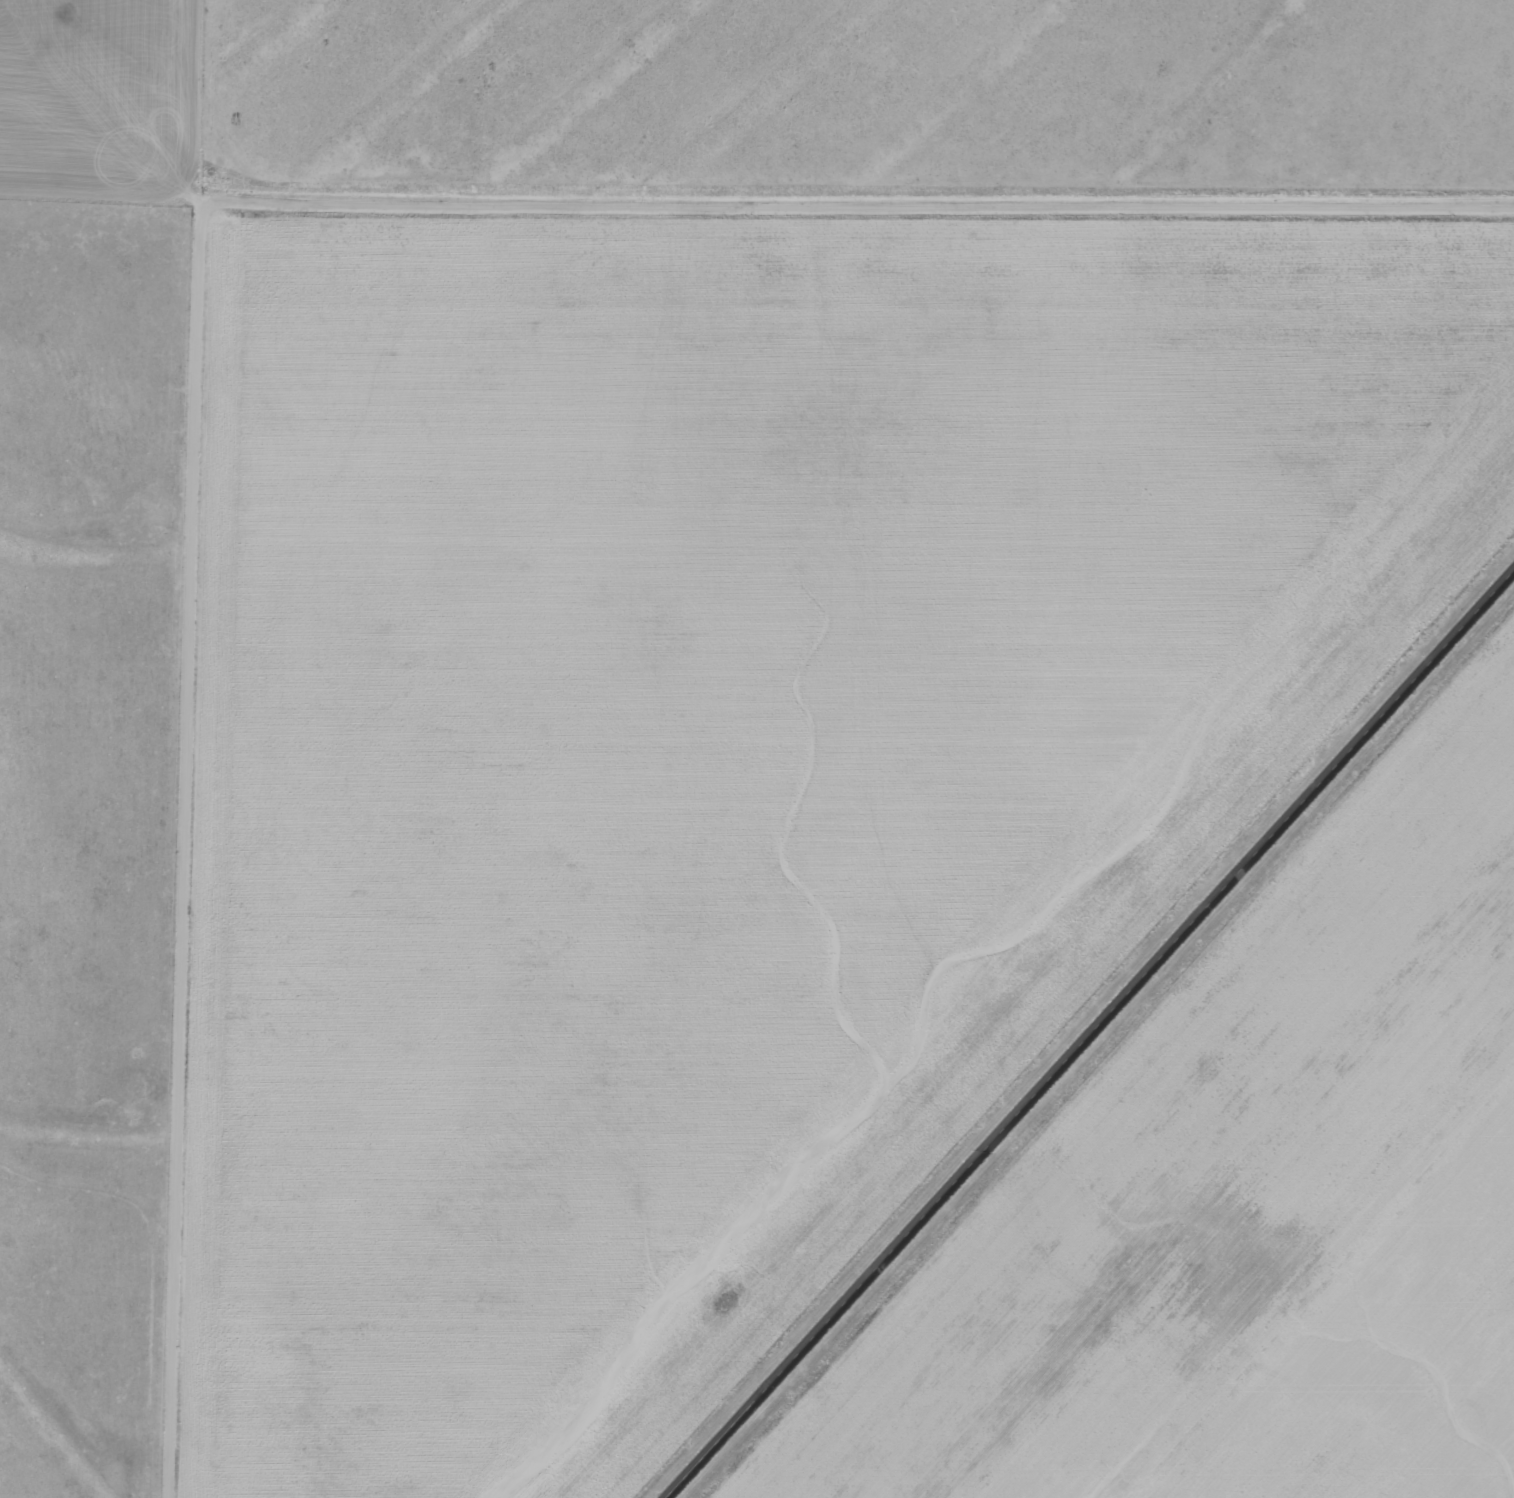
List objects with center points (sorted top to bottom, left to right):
road: (216, 202)
road: (115, 238)
railway: (1064, 1011)
road: (1094, 1040)

